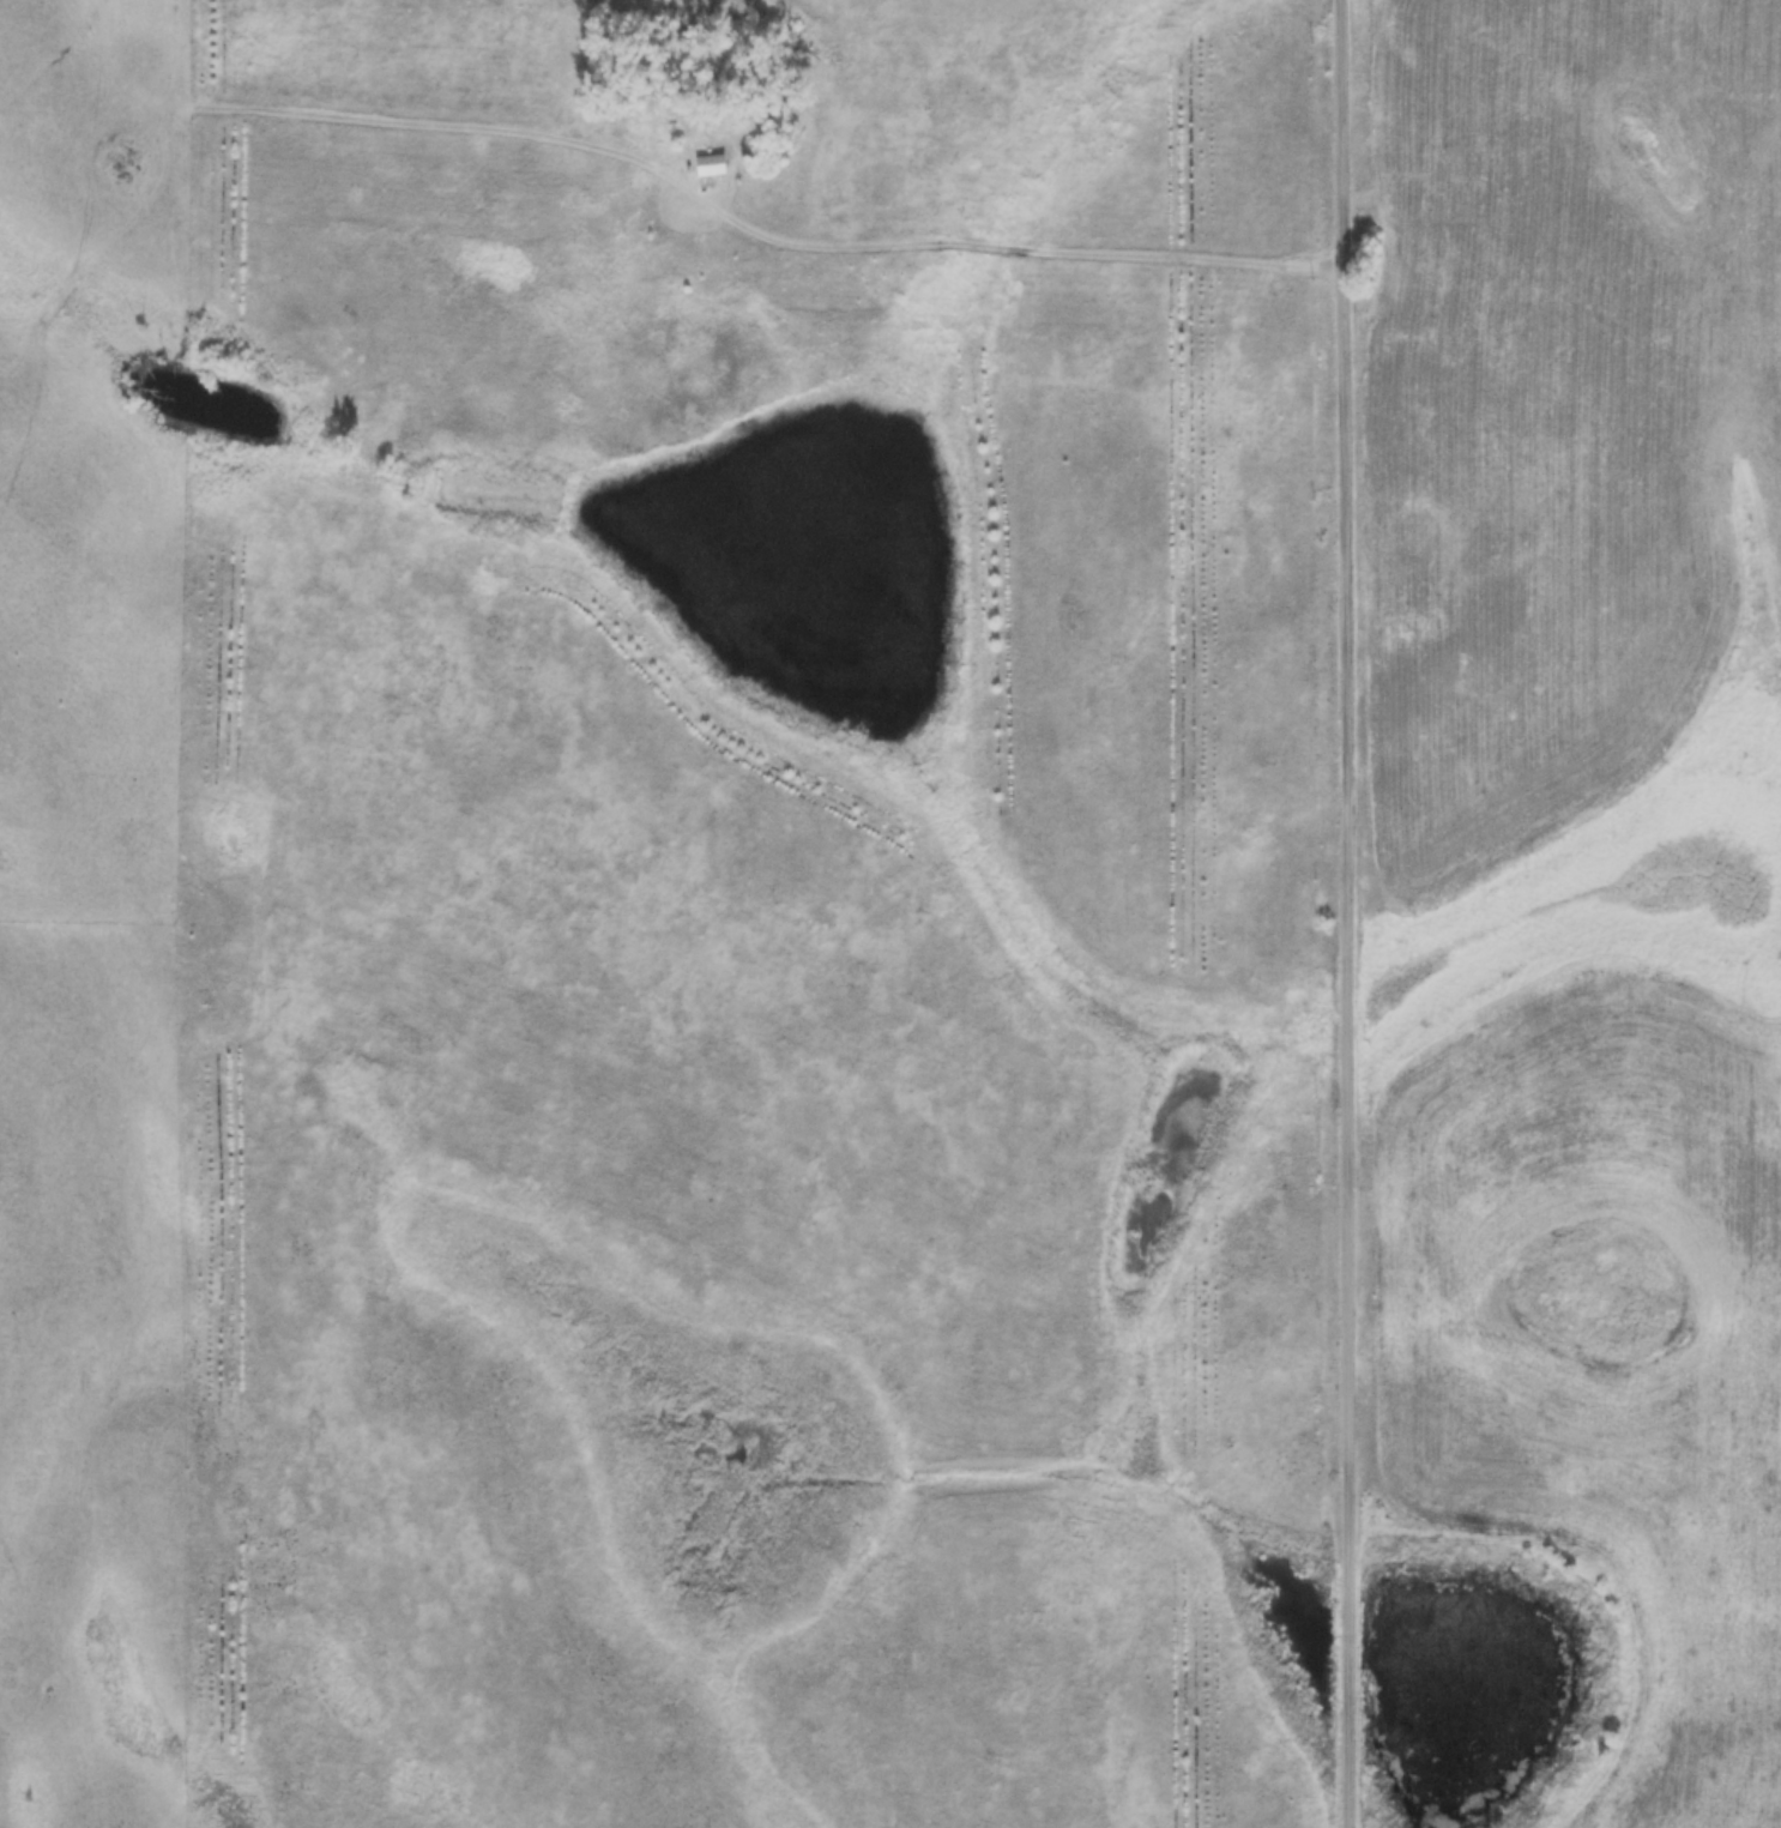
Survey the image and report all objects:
building: (726, 152)
road: (1346, 913)
road: (889, 979)

